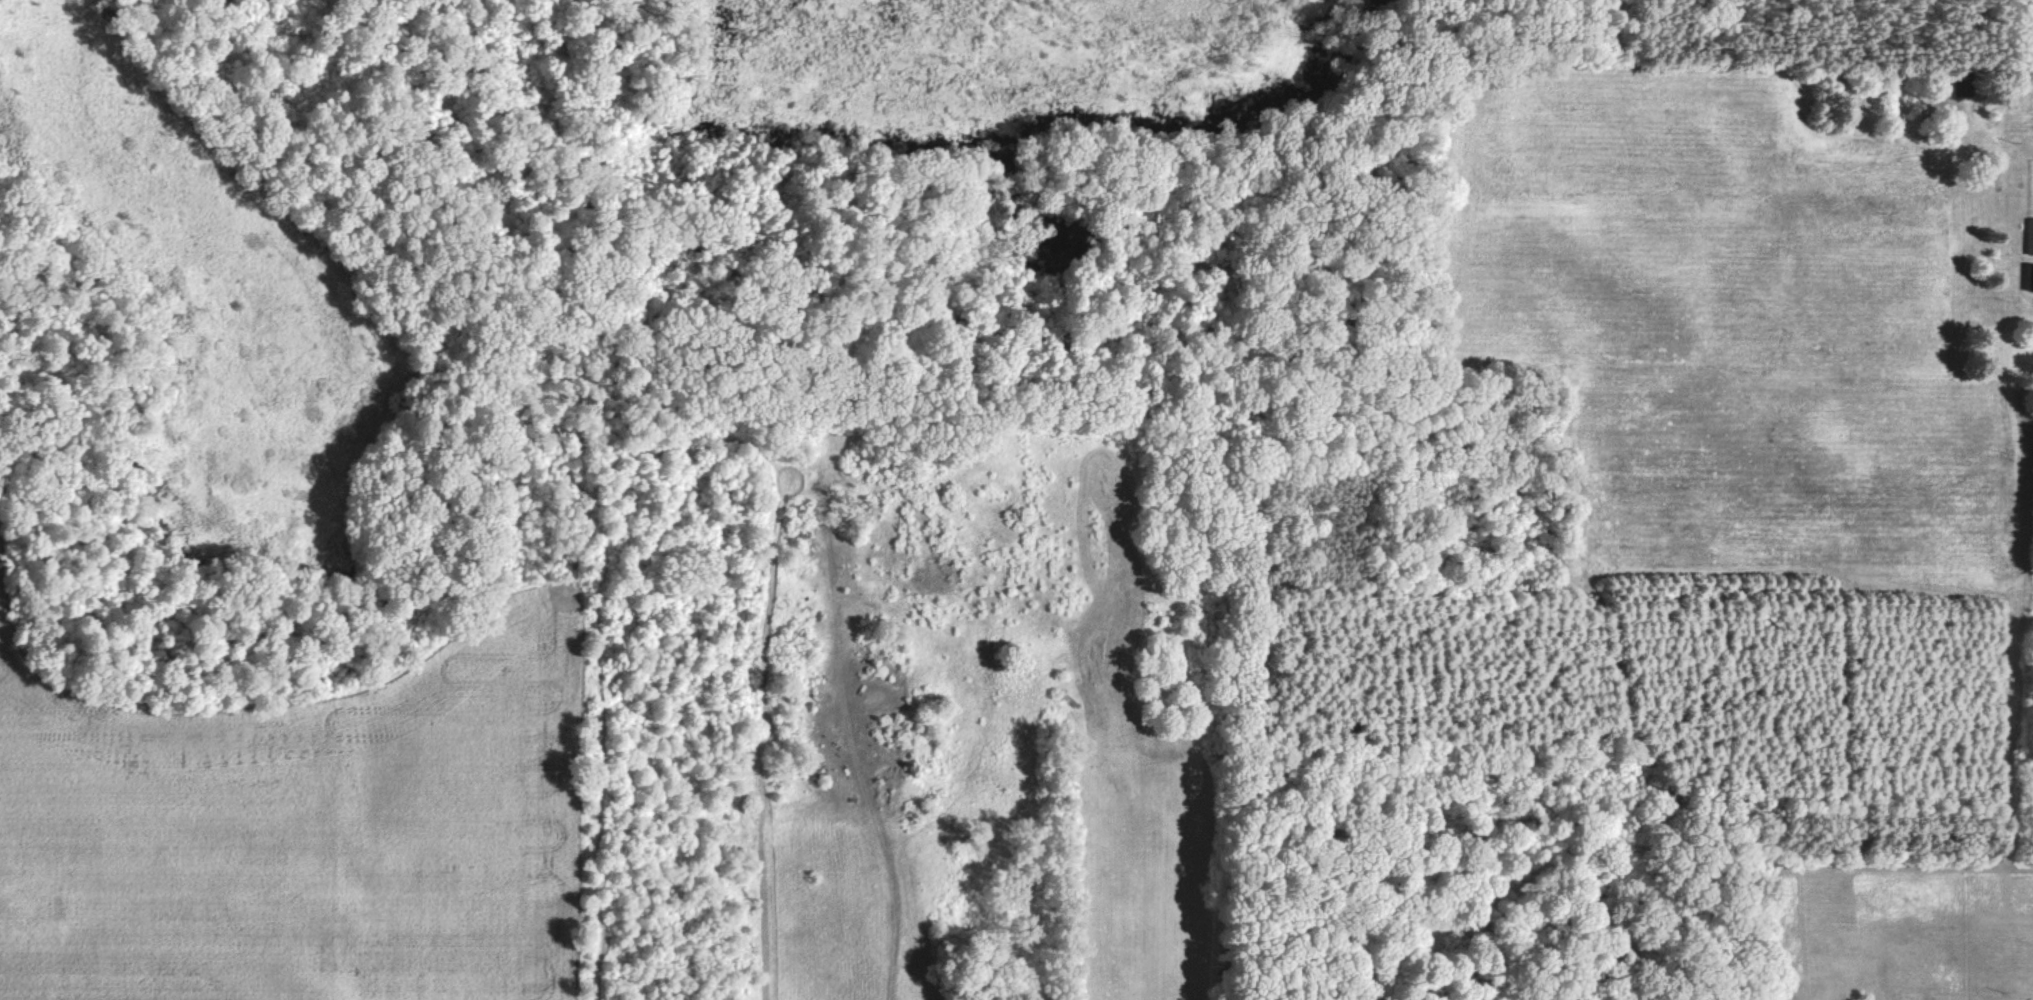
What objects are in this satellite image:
building: (2029, 236)

